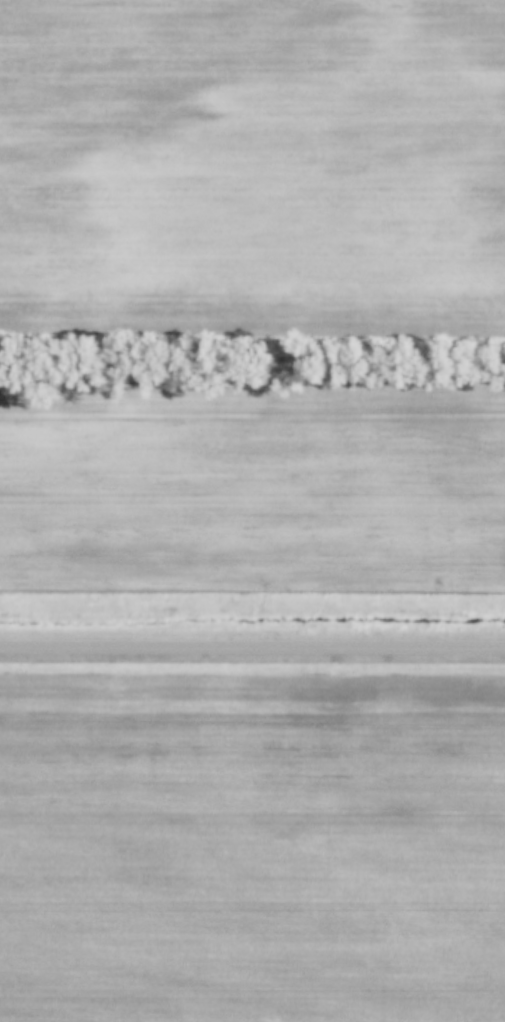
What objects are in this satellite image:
road: (252, 647)

